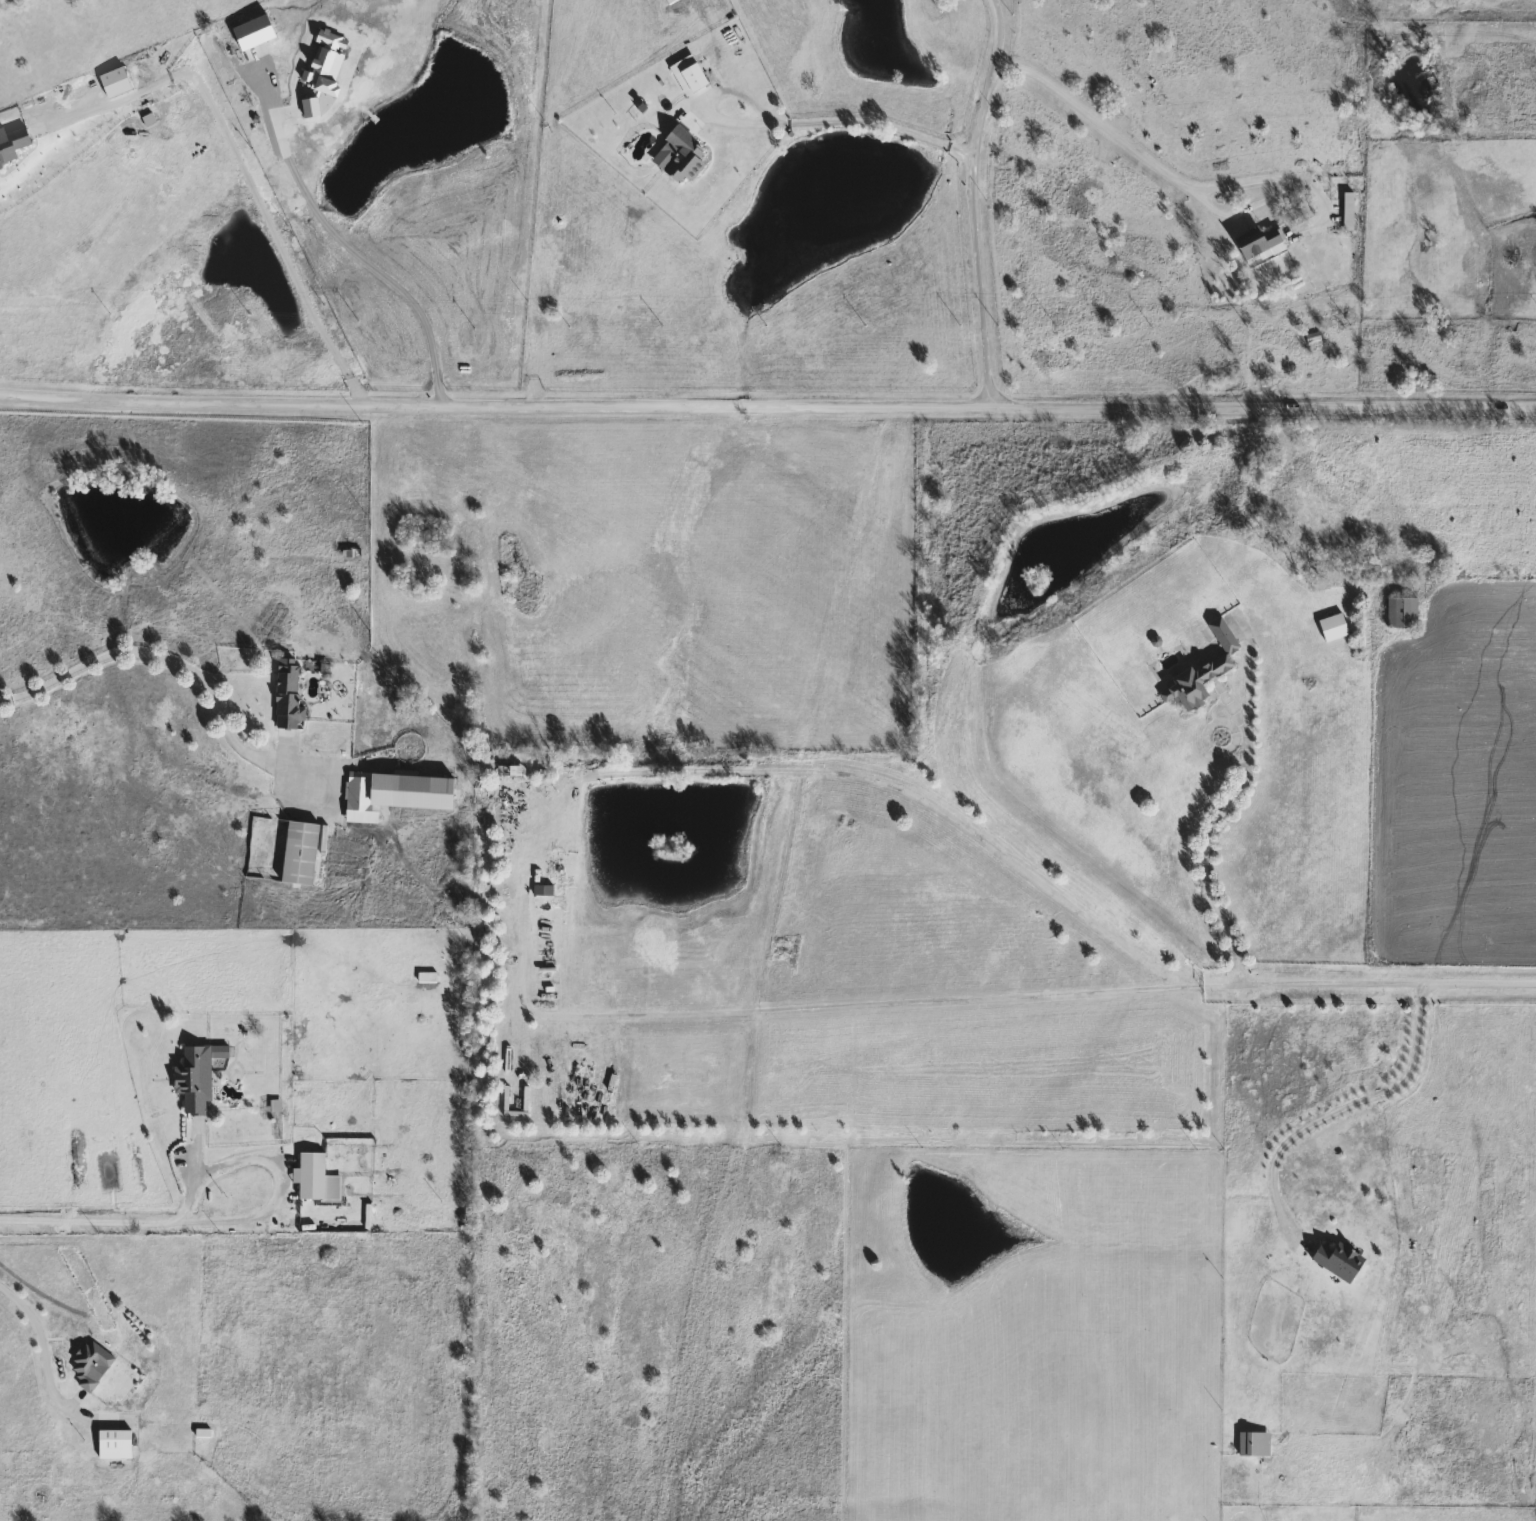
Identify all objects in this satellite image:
building: (687, 75)
road: (856, 121)
building: (681, 156)
road: (247, 175)
road: (1171, 176)
road: (969, 202)
building: (1346, 211)
building: (1257, 243)
road: (364, 266)
road: (767, 407)
building: (1400, 613)
building: (1331, 627)
road: (151, 656)
building: (1202, 666)
road: (1252, 687)
building: (284, 693)
building: (391, 794)
road: (1205, 845)
building: (303, 854)
building: (425, 978)
road: (1385, 986)
road: (880, 1003)
building: (192, 1079)
road: (1337, 1110)
building: (309, 1176)
road: (177, 1219)
road: (229, 1219)
building: (1335, 1261)
road: (38, 1344)
building: (87, 1365)
building: (202, 1434)
building: (1252, 1444)

